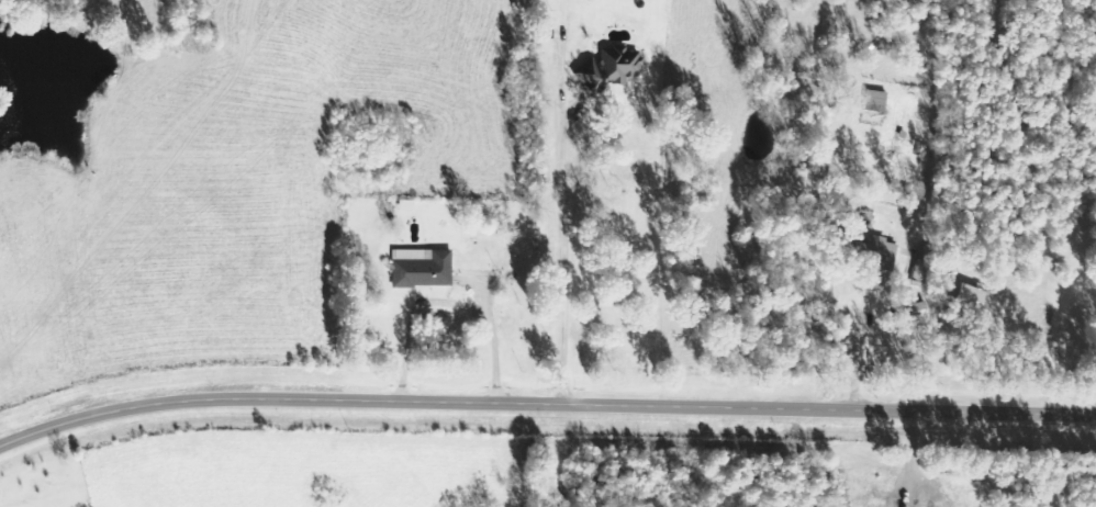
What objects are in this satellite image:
building: (609, 68)
building: (885, 255)
building: (424, 268)
road: (545, 398)

